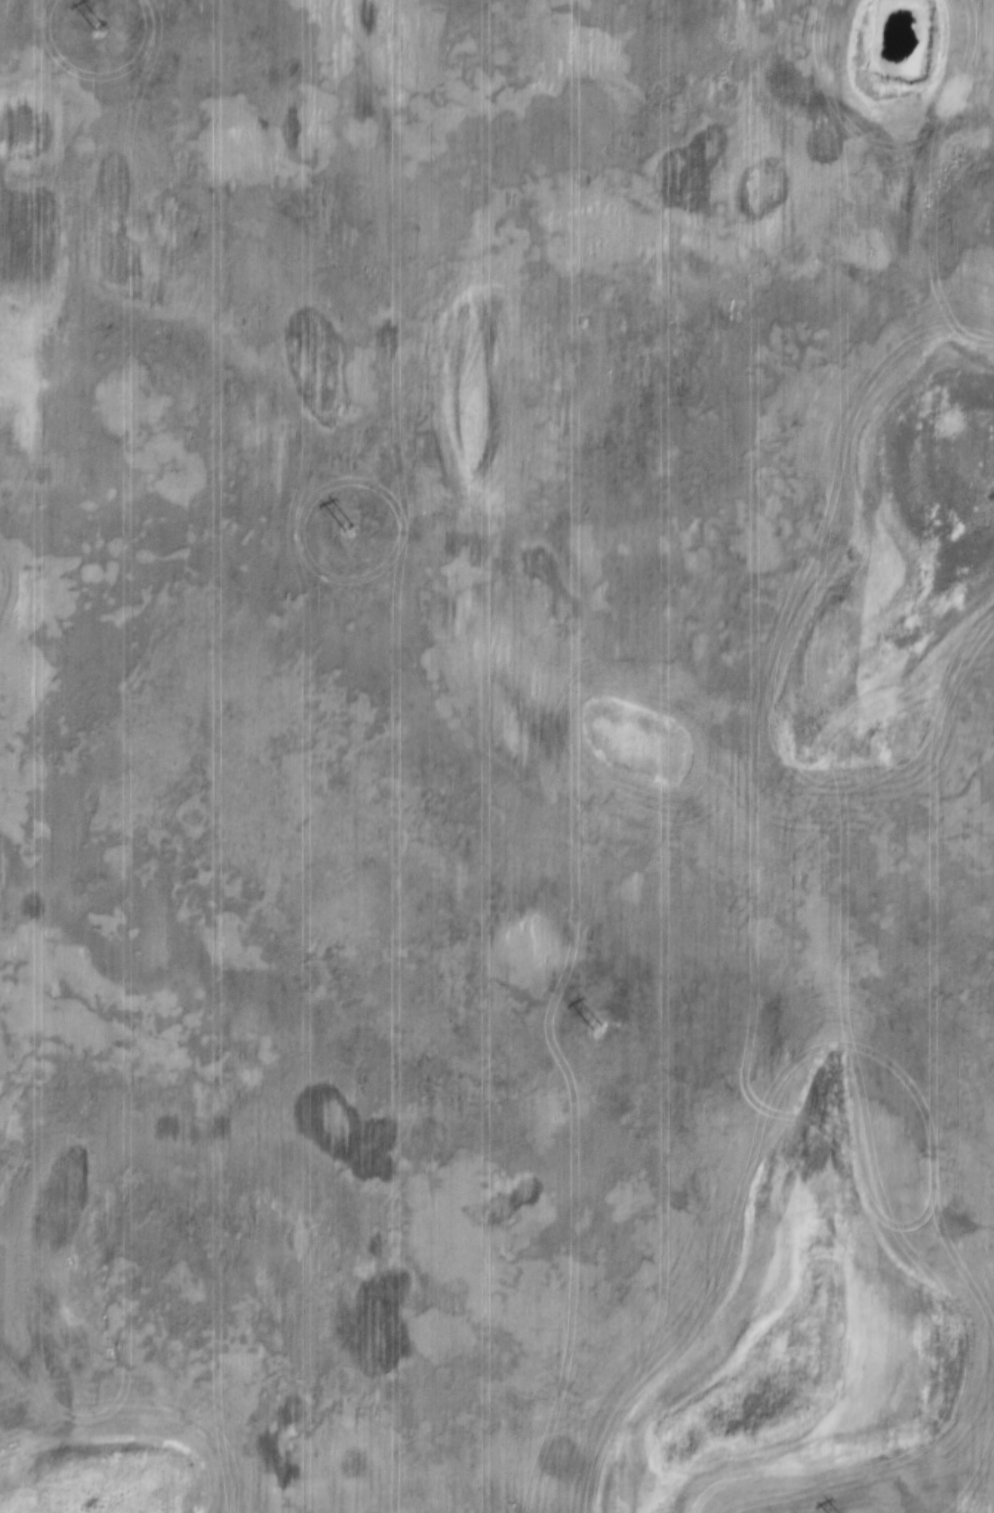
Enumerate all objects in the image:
power tower: (94, 25)
power tower: (344, 525)
power tower: (591, 1024)

